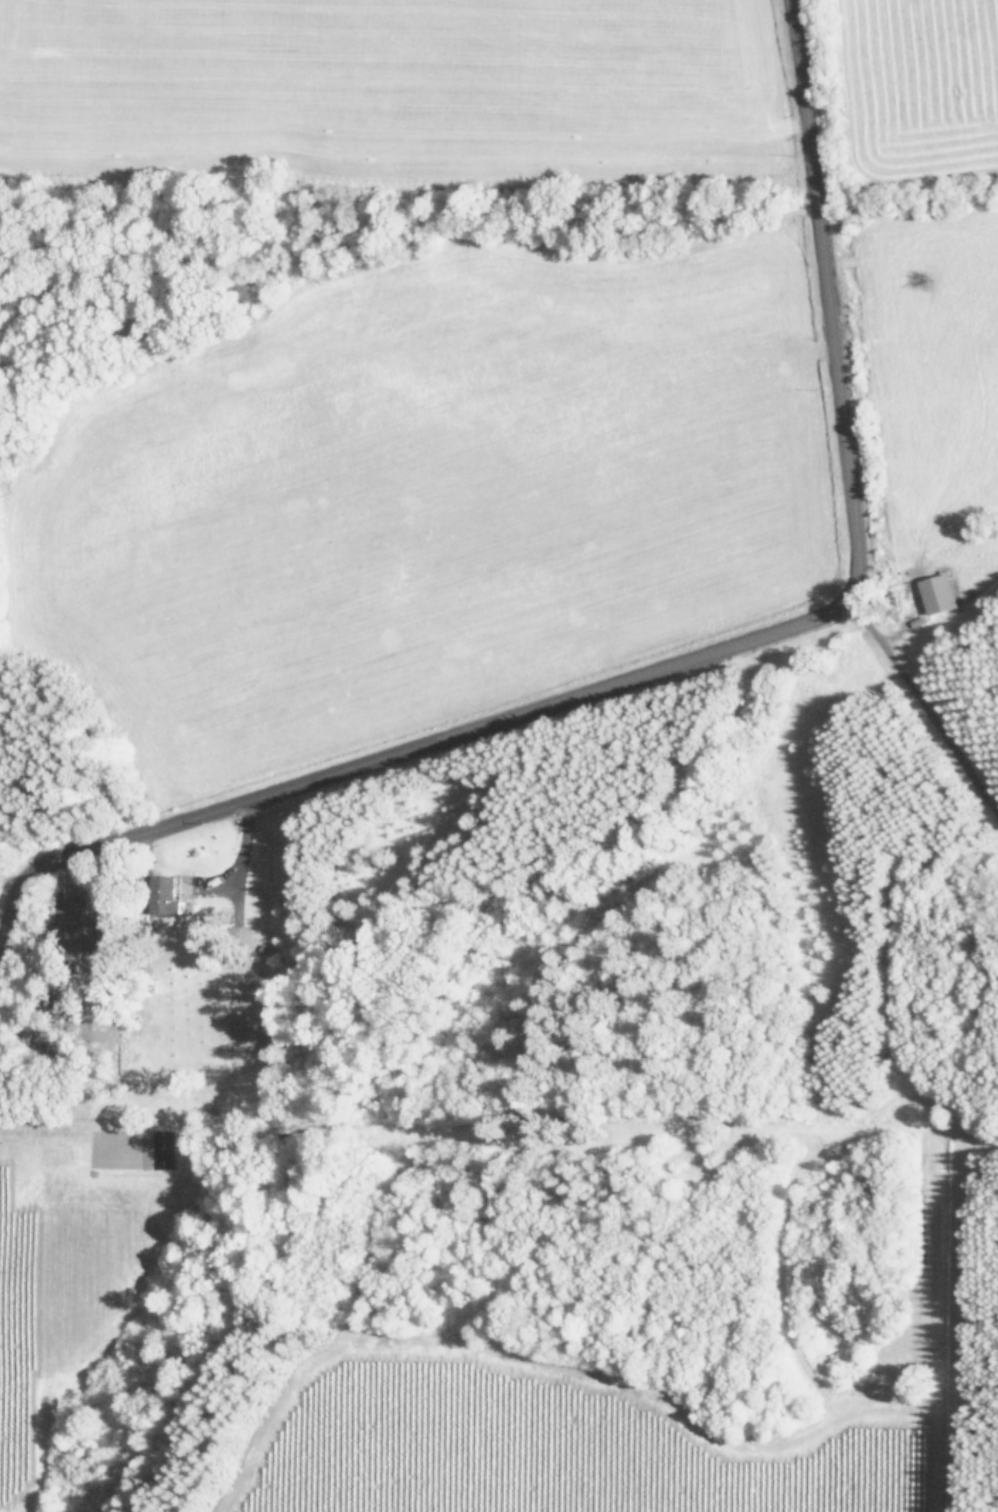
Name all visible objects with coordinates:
building: (939, 593)
road: (685, 657)
road: (922, 708)
building: (170, 895)

